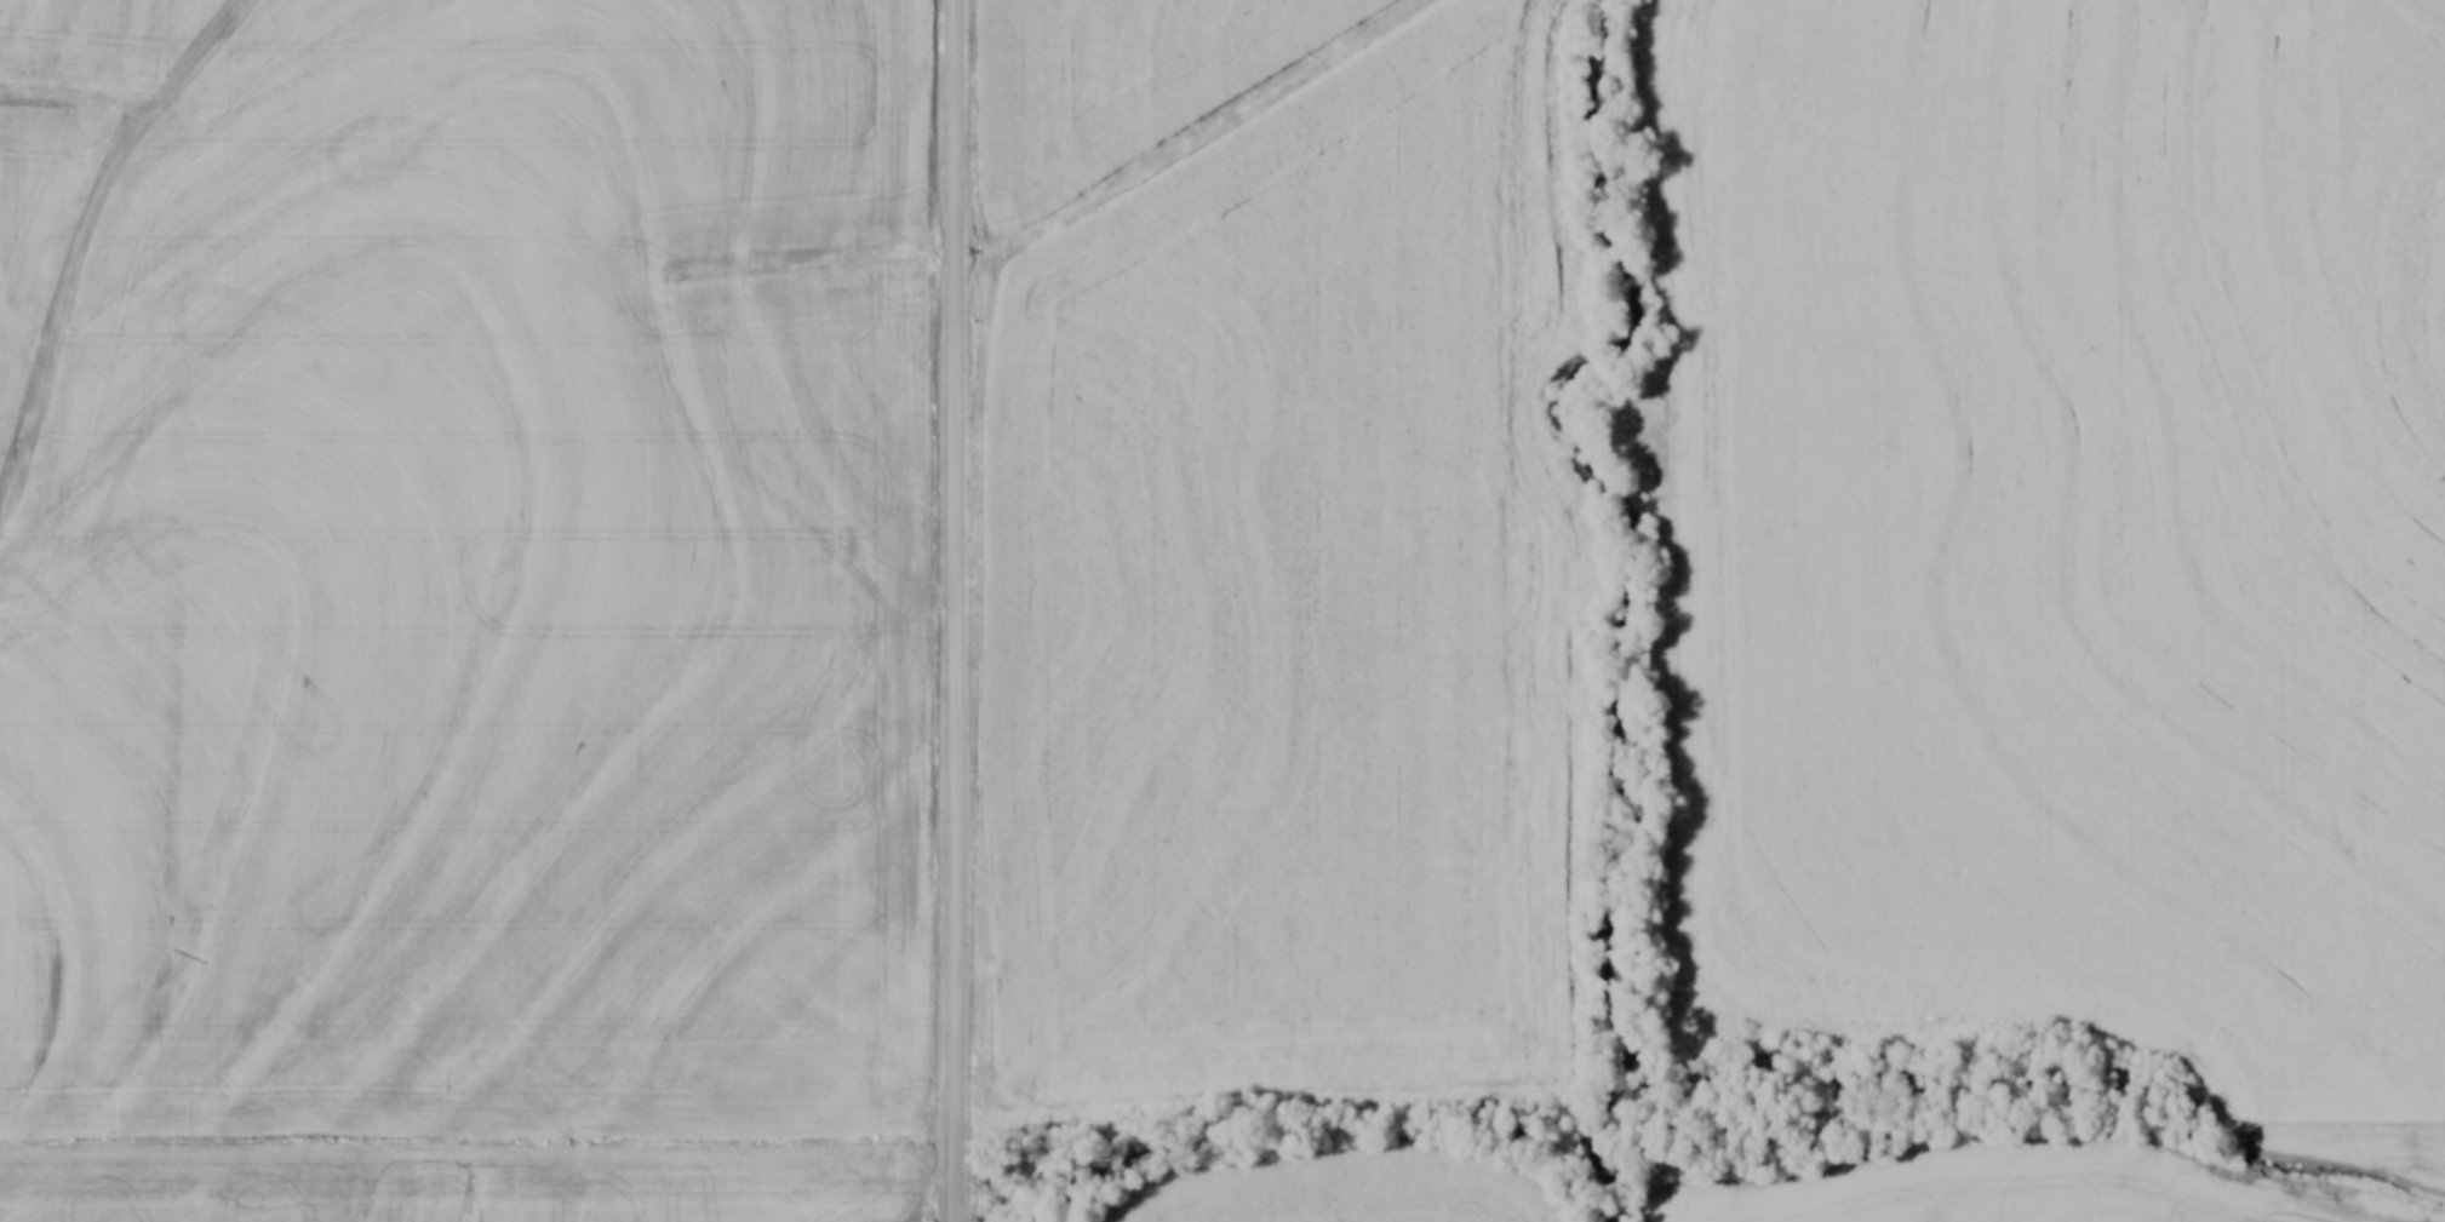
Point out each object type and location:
road: (961, 610)

